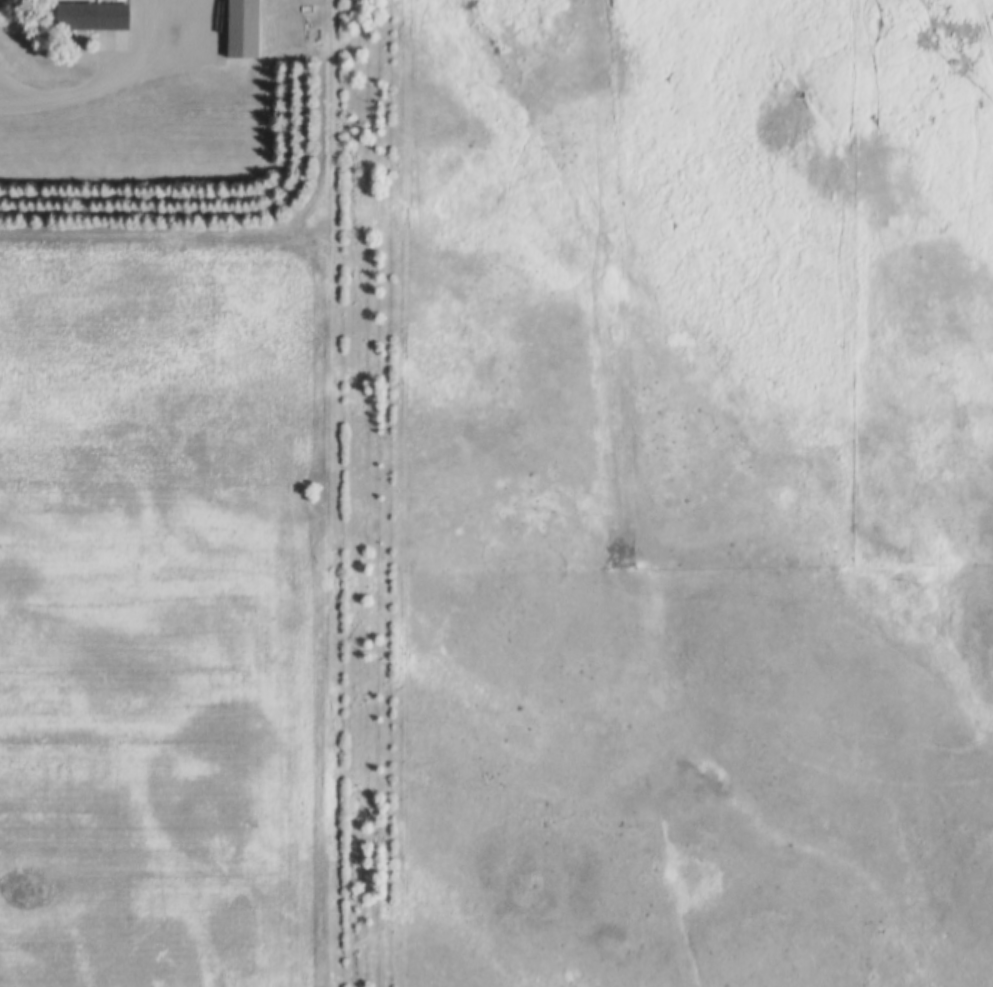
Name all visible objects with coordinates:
building: (93, 16)
building: (245, 30)
road: (97, 79)

